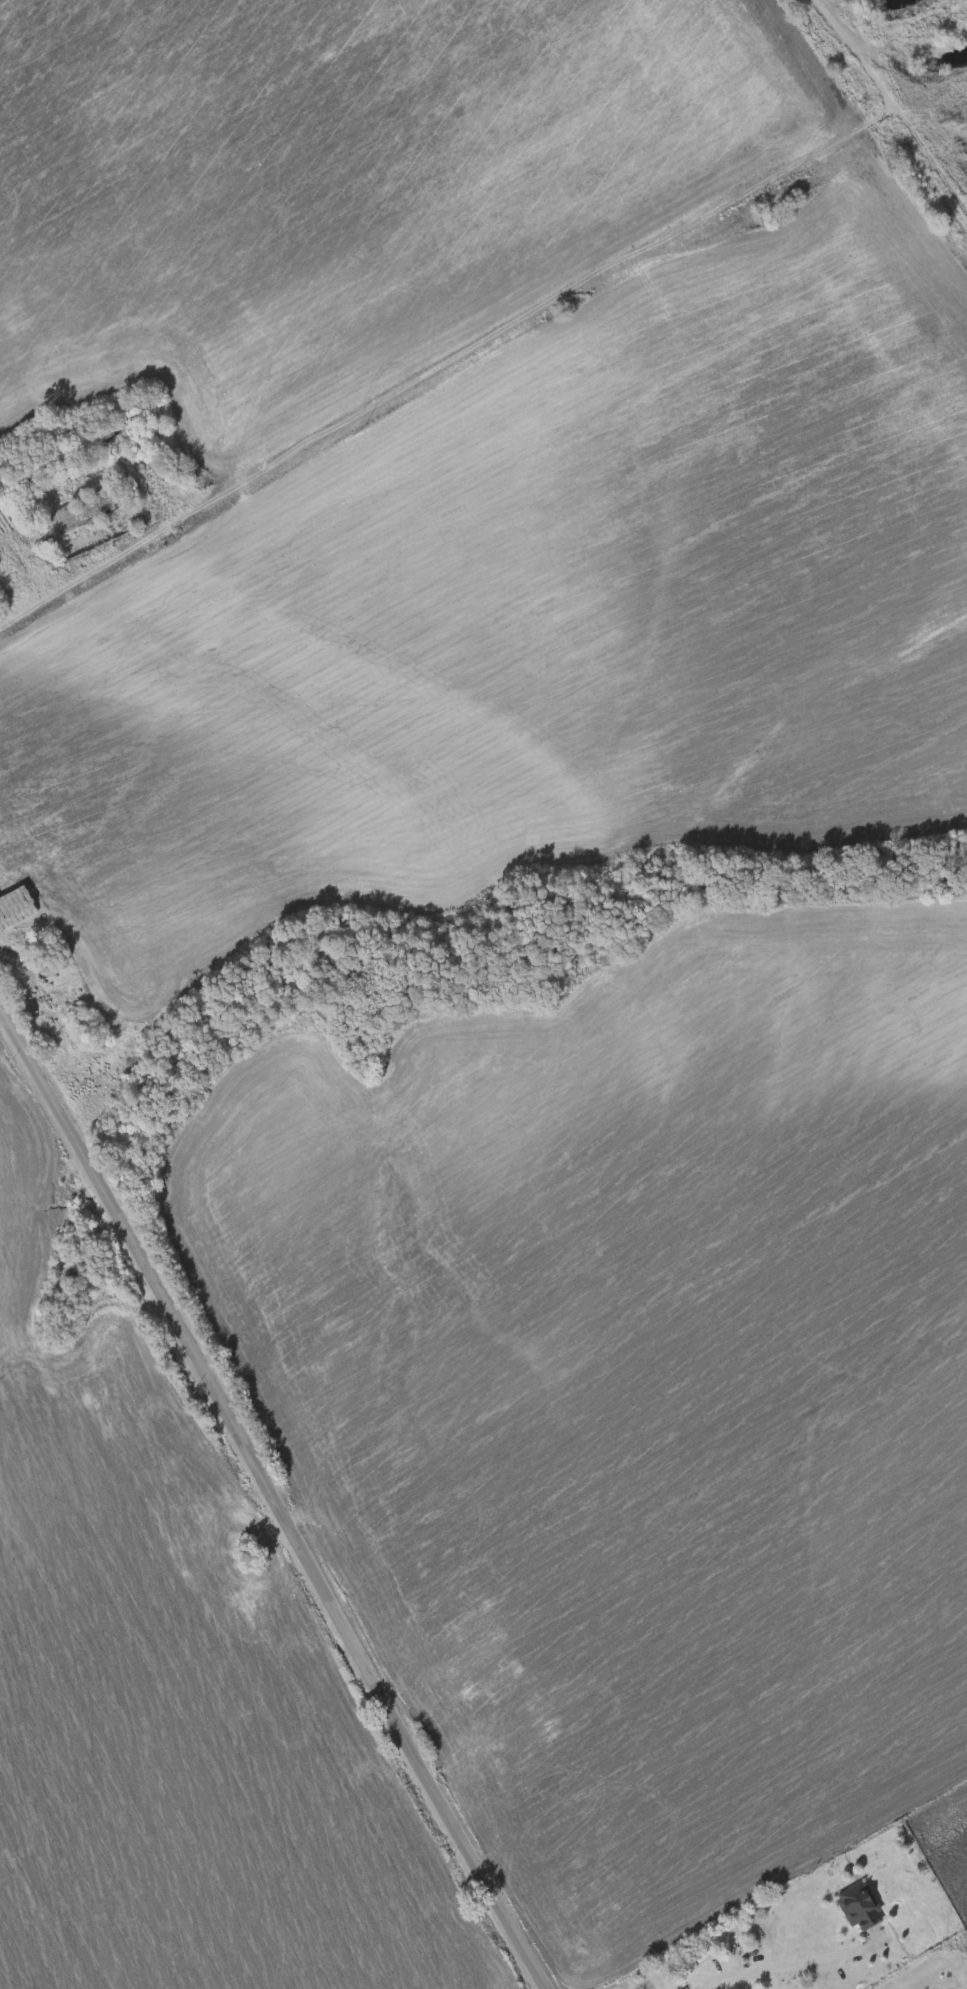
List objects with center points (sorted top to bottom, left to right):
road: (483, 349)
road: (273, 1501)
building: (861, 1911)
building: (685, 1960)
road: (792, 1964)

